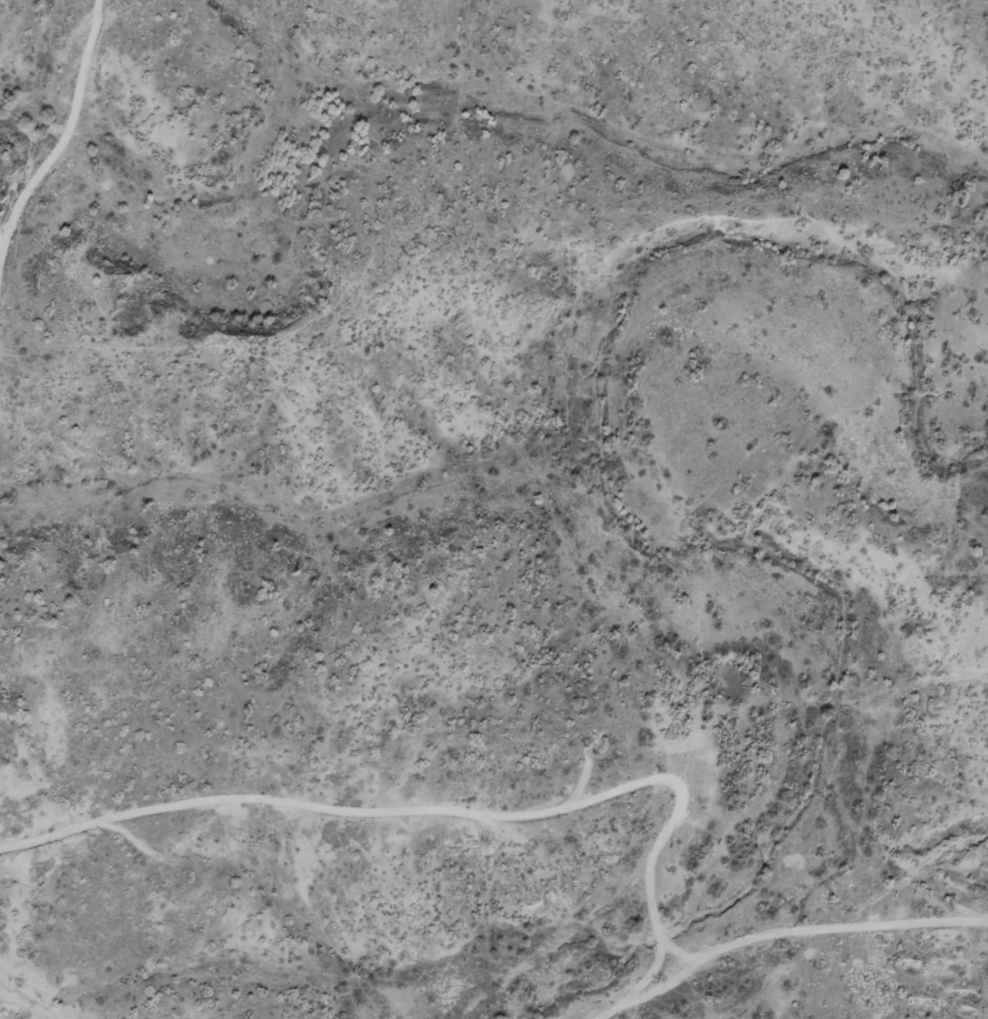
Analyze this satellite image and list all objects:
road: (48, 202)
road: (418, 797)
road: (801, 925)

